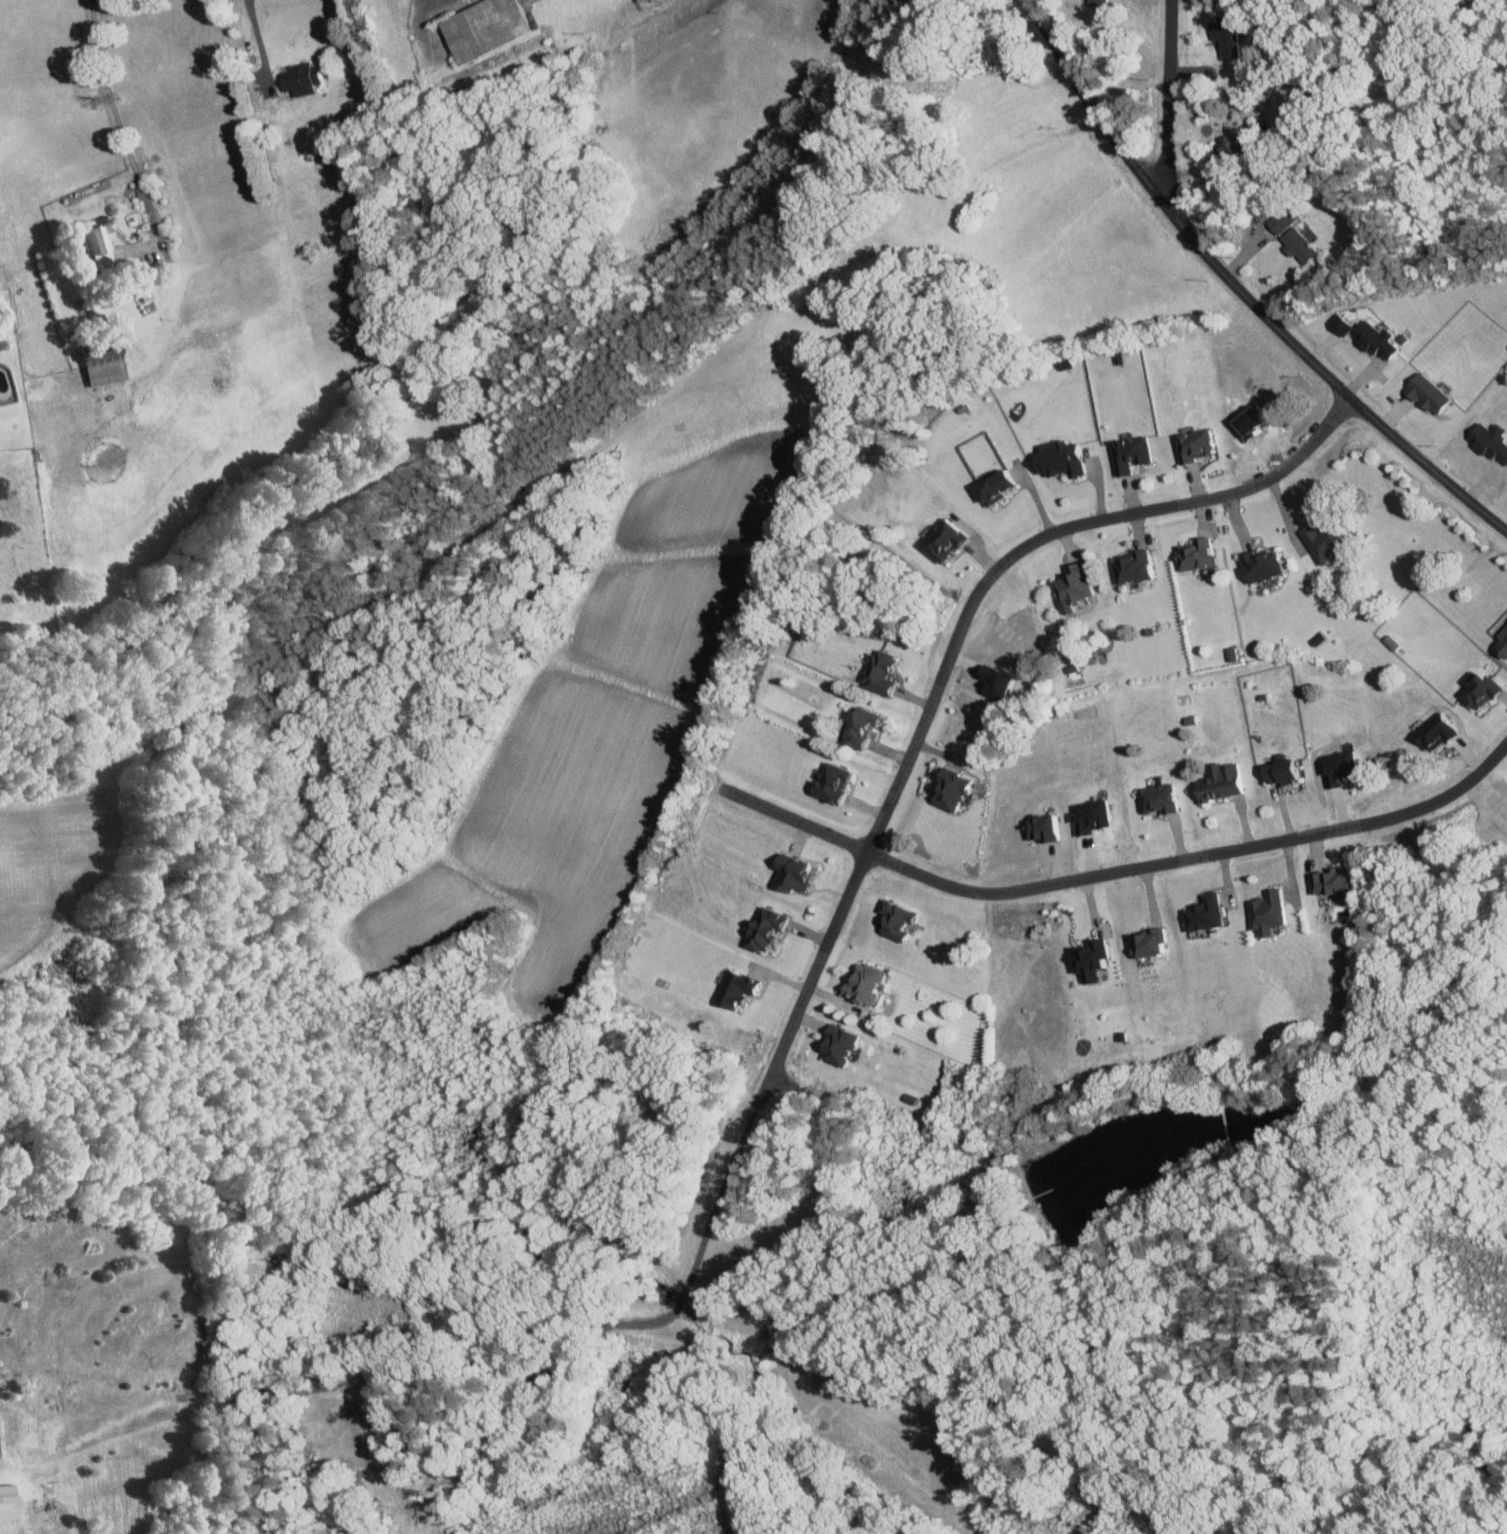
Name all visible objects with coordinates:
building: (492, 26)
building: (1227, 36)
road: (258, 43)
building: (306, 77)
road: (1167, 105)
road: (118, 122)
building: (1237, 144)
building: (1285, 219)
building: (104, 243)
building: (1302, 245)
road: (1239, 290)
building: (1345, 323)
building: (1378, 339)
building: (107, 363)
building: (1432, 393)
building: (1487, 441)
building: (1199, 445)
building: (1135, 453)
building: (1065, 459)
building: (1003, 486)
building: (950, 539)
building: (1328, 540)
building: (1197, 555)
building: (1268, 565)
building: (1137, 567)
building: (1077, 587)
building: (1501, 641)
road: (952, 646)
building: (1235, 654)
building: (886, 671)
building: (1476, 690)
building: (868, 727)
building: (1435, 730)
building: (1341, 767)
building: (1287, 772)
building: (1226, 782)
building: (838, 783)
building: (956, 789)
building: (1161, 799)
road: (1117, 871)
building: (798, 872)
building: (1335, 881)
building: (1271, 912)
building: (1209, 913)
building: (903, 920)
building: (772, 930)
building: (1152, 943)
building: (1094, 961)
building: (872, 984)
building: (741, 988)
building: (843, 1044)
road: (485, 1367)

